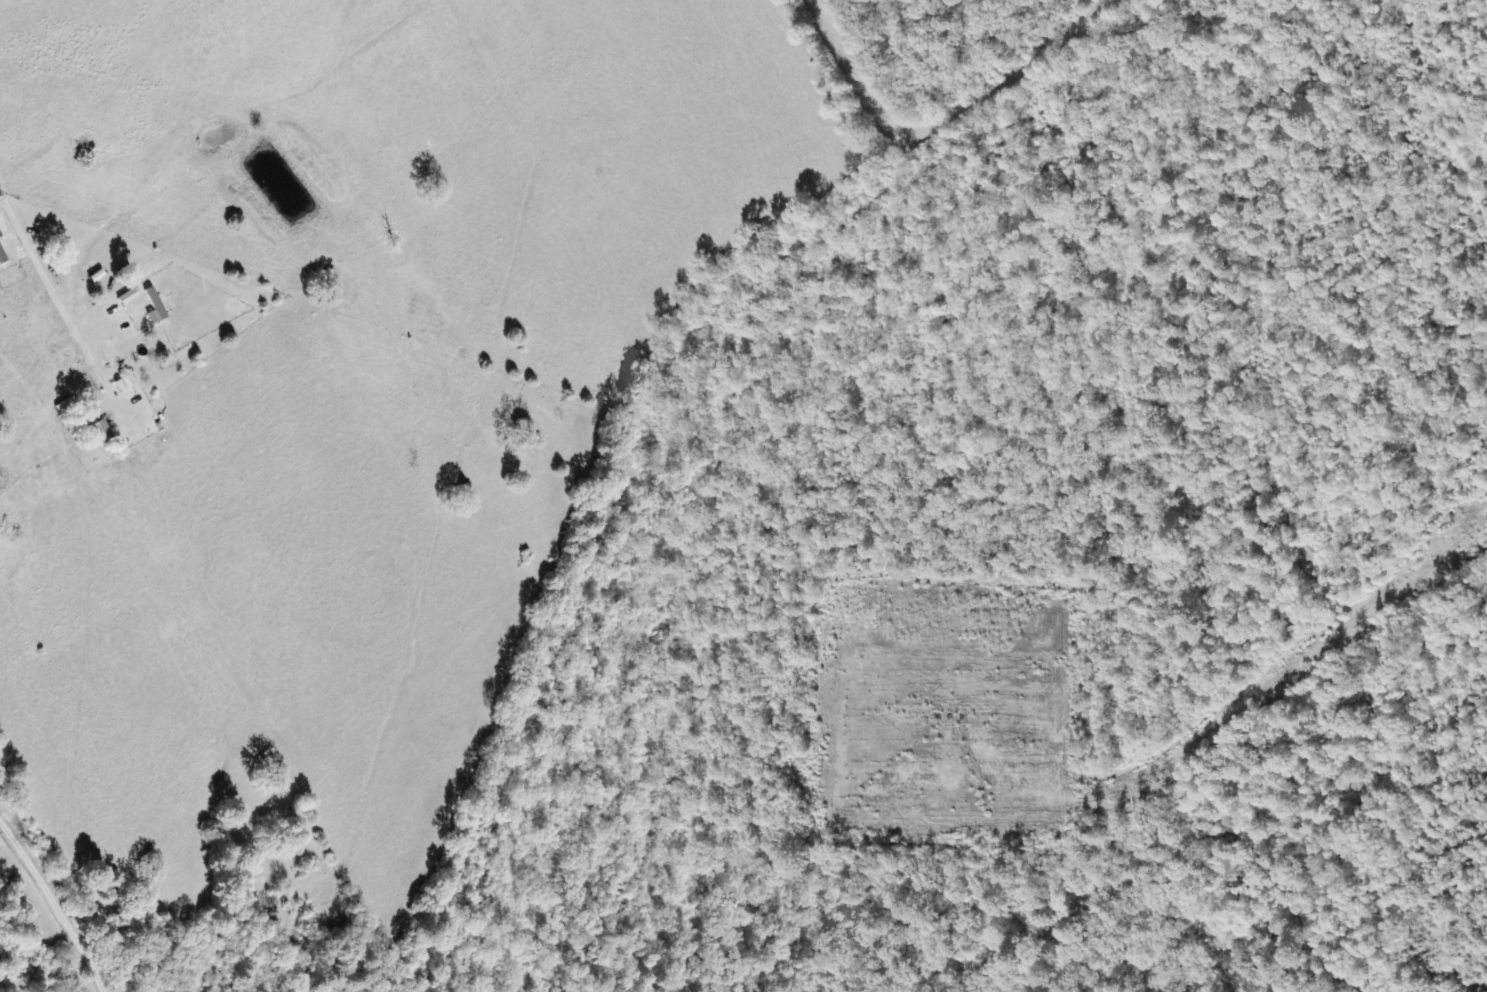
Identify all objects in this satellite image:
building: (2, 256)
building: (125, 296)
building: (153, 307)
building: (98, 432)

